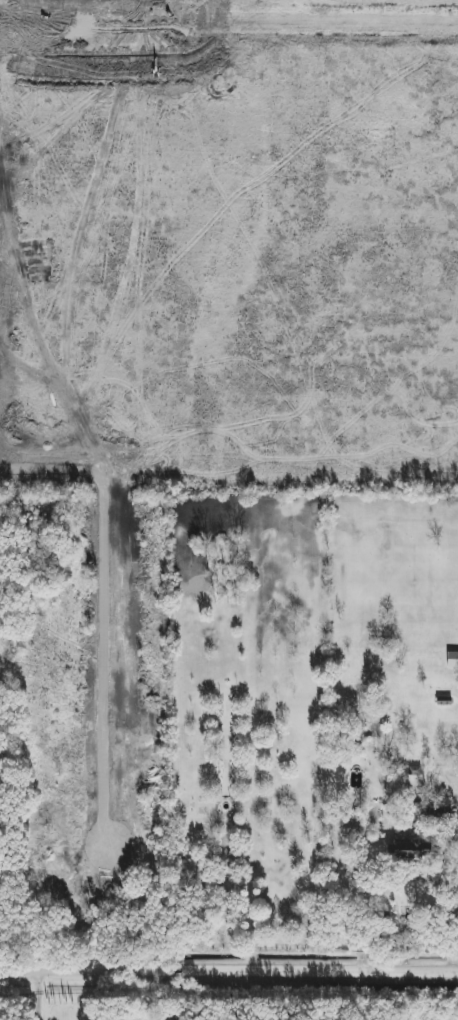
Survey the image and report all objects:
road: (147, 8)
road: (73, 17)
road: (302, 19)
building: (451, 658)
building: (434, 812)
building: (407, 848)
road: (229, 968)

